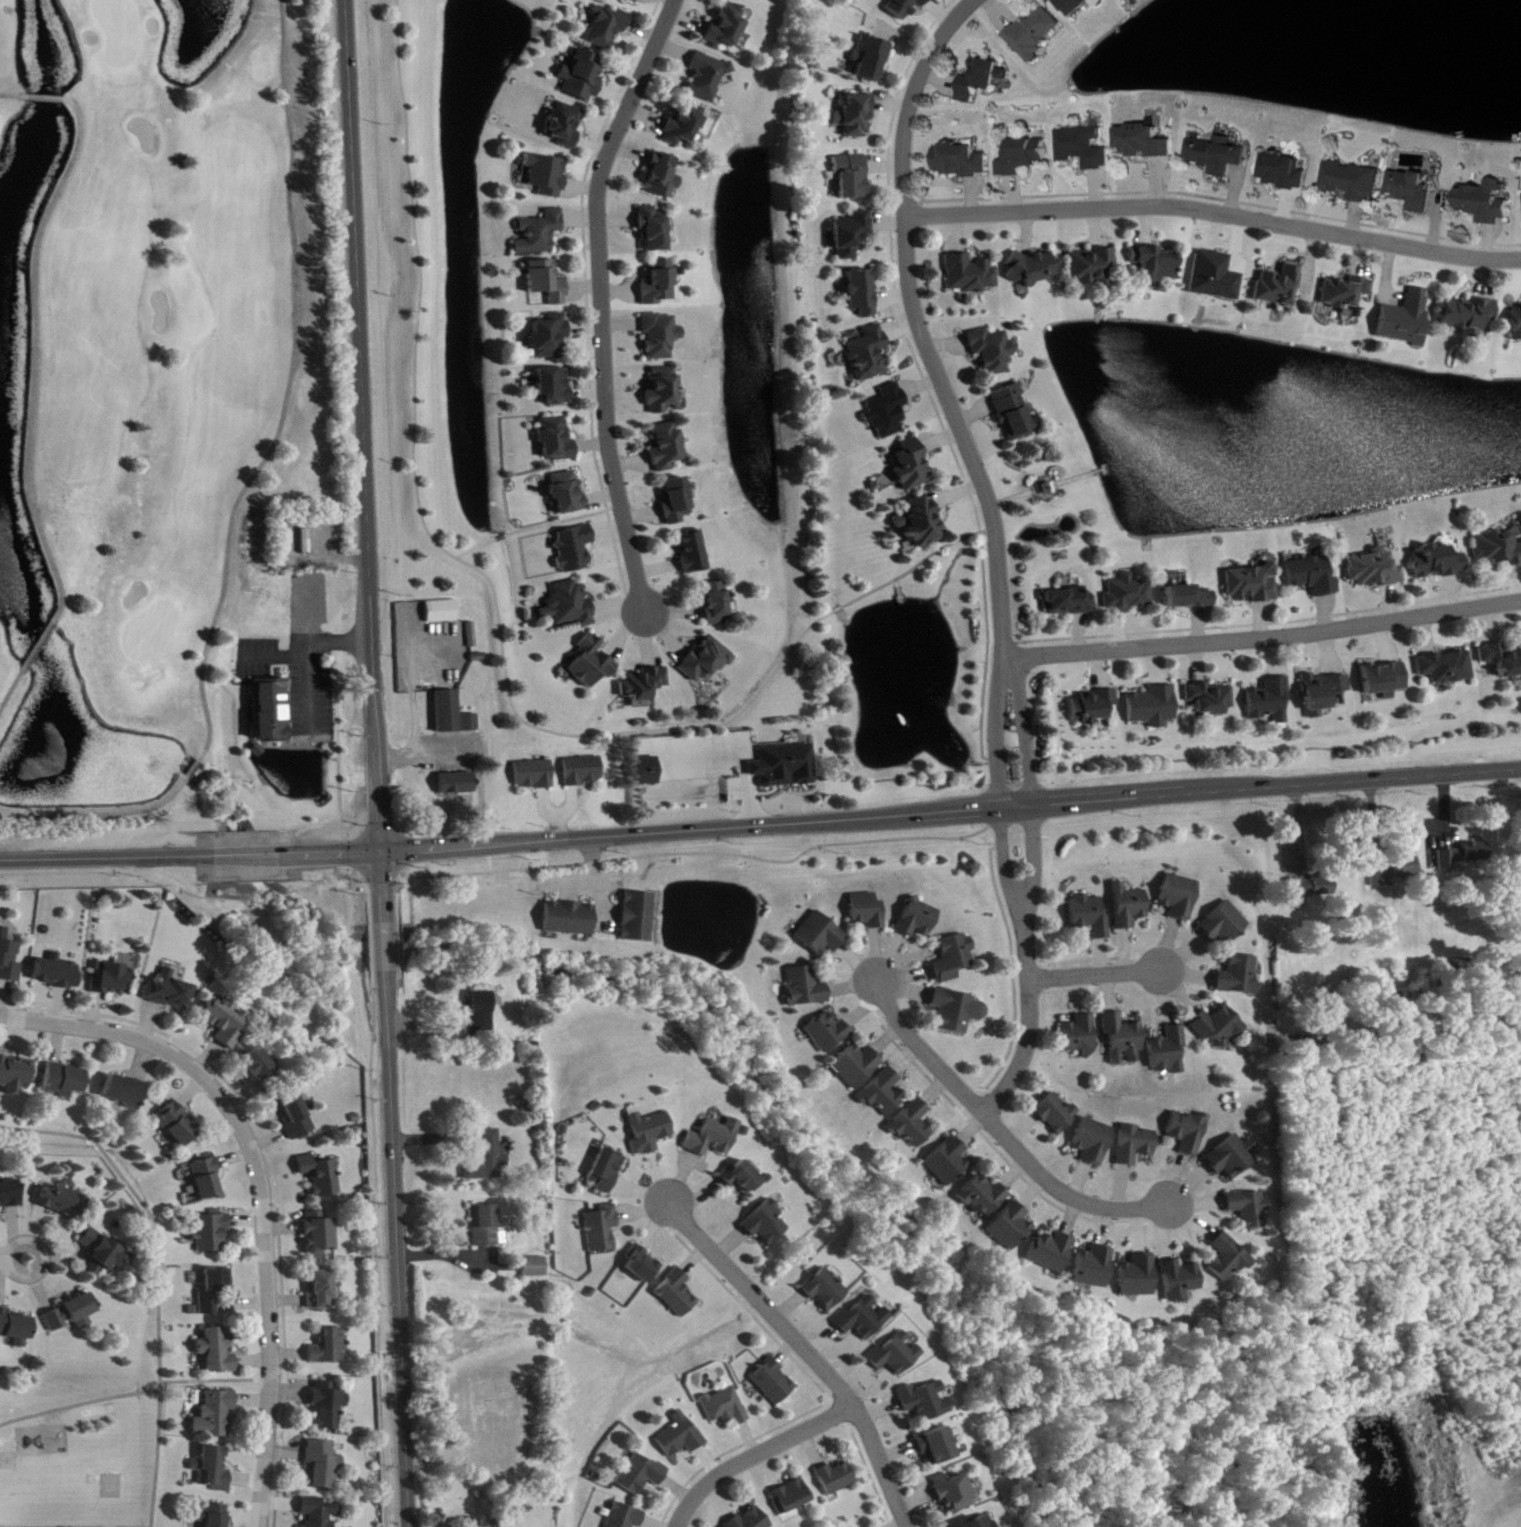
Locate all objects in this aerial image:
building: (634, 1)
building: (1079, 6)
building: (904, 7)
building: (608, 28)
building: (727, 28)
building: (1039, 33)
building: (871, 58)
building: (583, 77)
building: (708, 77)
building: (986, 80)
road: (45, 98)
building: (855, 116)
building: (566, 125)
building: (685, 125)
building: (1149, 143)
building: (1088, 148)
building: (1220, 156)
building: (1028, 157)
building: (965, 162)
building: (1287, 172)
building: (547, 176)
building: (661, 177)
building: (852, 177)
building: (1356, 182)
building: (1415, 190)
building: (1489, 202)
road: (1215, 211)
building: (653, 230)
building: (541, 233)
building: (852, 235)
building: (1156, 264)
building: (1092, 267)
building: (1034, 269)
building: (970, 275)
building: (1216, 277)
building: (547, 283)
building: (660, 284)
building: (1280, 287)
building: (862, 293)
building: (1347, 293)
road: (597, 299)
building: (1471, 317)
building: (1408, 319)
building: (1517, 323)
building: (550, 337)
building: (661, 337)
building: (992, 352)
building: (868, 355)
park: (150, 379)
road: (36, 381)
building: (554, 387)
building: (662, 391)
building: (887, 412)
building: (1015, 415)
building: (556, 441)
building: (666, 447)
road: (362, 461)
building: (910, 467)
road: (249, 492)
building: (568, 493)
building: (677, 502)
building: (921, 523)
road: (536, 526)
road: (995, 544)
building: (1498, 549)
building: (574, 550)
building: (694, 553)
building: (1440, 563)
building: (1376, 571)
building: (1314, 576)
building: (1253, 585)
building: (1128, 595)
building: (1190, 598)
building: (1069, 603)
building: (716, 604)
building: (569, 606)
building: (443, 612)
road: (495, 618)
road: (1264, 634)
road: (41, 649)
building: (1504, 659)
building: (706, 661)
building: (591, 664)
building: (1447, 668)
building: (1386, 680)
building: (644, 685)
building: (1324, 693)
building: (1211, 699)
building: (1272, 701)
road: (410, 704)
building: (1092, 707)
building: (1154, 708)
building: (273, 711)
building: (449, 712)
building: (471, 724)
building: (786, 767)
road: (476, 769)
building: (584, 772)
building: (648, 772)
building: (536, 776)
building: (459, 785)
road: (909, 812)
road: (957, 836)
traffic signals: (380, 853)
road: (255, 855)
building: (1465, 856)
road: (106, 858)
road: (106, 870)
road: (255, 870)
building: (1397, 872)
road: (352, 874)
road: (364, 877)
road: (380, 877)
building: (1311, 890)
building: (1180, 898)
road: (999, 906)
building: (1129, 908)
building: (869, 912)
building: (1091, 917)
building: (639, 918)
building: (571, 919)
building: (919, 920)
building: (1225, 926)
building: (821, 936)
road: (369, 944)
road: (384, 946)
road: (1087, 957)
building: (955, 959)
building: (9, 963)
road: (1095, 972)
building: (57, 974)
building: (1240, 977)
building: (112, 979)
building: (806, 988)
building: (171, 992)
road: (886, 1010)
building: (958, 1012)
building: (482, 1014)
building: (224, 1022)
building: (1219, 1027)
building: (828, 1033)
road: (127, 1034)
building: (1078, 1036)
building: (1124, 1039)
road: (1007, 1046)
road: (902, 1050)
building: (1170, 1052)
building: (257, 1066)
building: (857, 1067)
building: (15, 1075)
building: (66, 1082)
building: (127, 1093)
building: (883, 1095)
building: (1057, 1115)
building: (298, 1120)
building: (178, 1126)
building: (913, 1126)
building: (1189, 1132)
building: (650, 1133)
road: (1002, 1134)
building: (713, 1139)
building: (1094, 1142)
building: (1137, 1145)
building: (487, 1158)
building: (1234, 1158)
building: (948, 1163)
building: (607, 1172)
building: (321, 1177)
building: (741, 1179)
building: (205, 1182)
building: (983, 1197)
road: (1051, 1201)
building: (64, 1203)
building: (1250, 1209)
building: (766, 1225)
building: (1011, 1228)
building: (488, 1229)
building: (603, 1230)
building: (212, 1234)
building: (321, 1234)
road: (372, 1245)
road: (395, 1248)
building: (104, 1252)
building: (1052, 1253)
road: (14, 1257)
building: (1229, 1259)
building: (641, 1266)
building: (535, 1268)
building: (1095, 1268)
road: (155, 1275)
building: (1139, 1278)
building: (1181, 1282)
building: (215, 1290)
building: (321, 1291)
building: (825, 1291)
building: (676, 1295)
road: (764, 1304)
road: (268, 1313)
building: (73, 1315)
building: (862, 1320)
building: (16, 1329)
building: (329, 1348)
building: (218, 1351)
building: (896, 1355)
road: (214, 1378)
building: (773, 1383)
road: (78, 1402)
building: (925, 1403)
building: (328, 1406)
building: (725, 1408)
building: (215, 1416)
building: (680, 1437)
building: (936, 1448)
road: (756, 1454)
park: (80, 1463)
building: (322, 1465)
road: (881, 1467)
building: (212, 1470)
building: (641, 1476)
building: (837, 1479)
park: (107, 1483)
building: (954, 1494)
building: (791, 1498)
building: (319, 1512)
building: (214, 1517)
building: (626, 1517)
building: (752, 1520)
building: (974, 1523)
building: (479, 1524)
road: (74, 1526)

